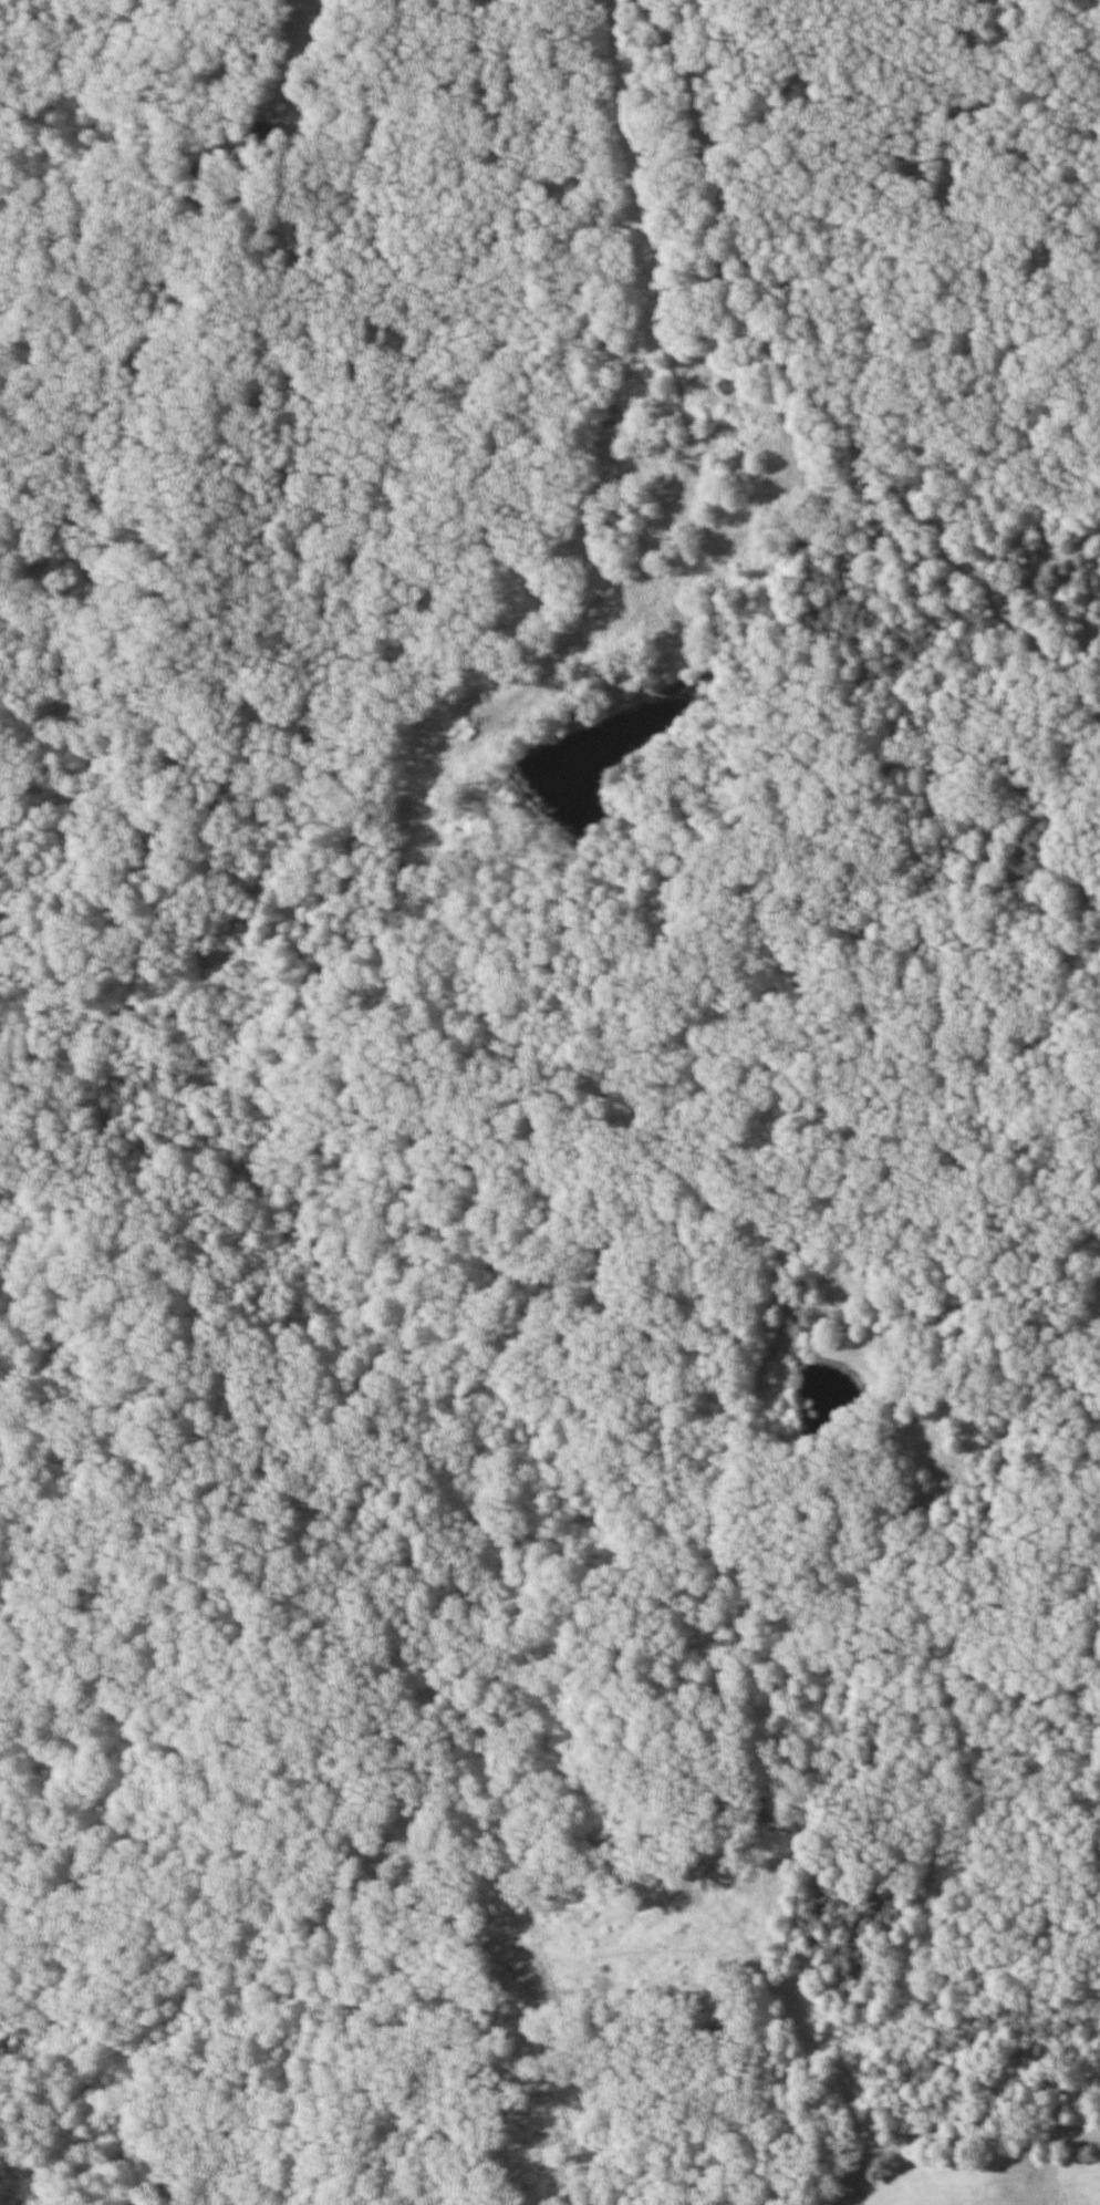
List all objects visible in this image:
road: (269, 91)
building: (262, 136)
road: (733, 251)
road: (923, 448)
road: (1020, 562)
road: (1089, 1210)
road: (947, 2130)

